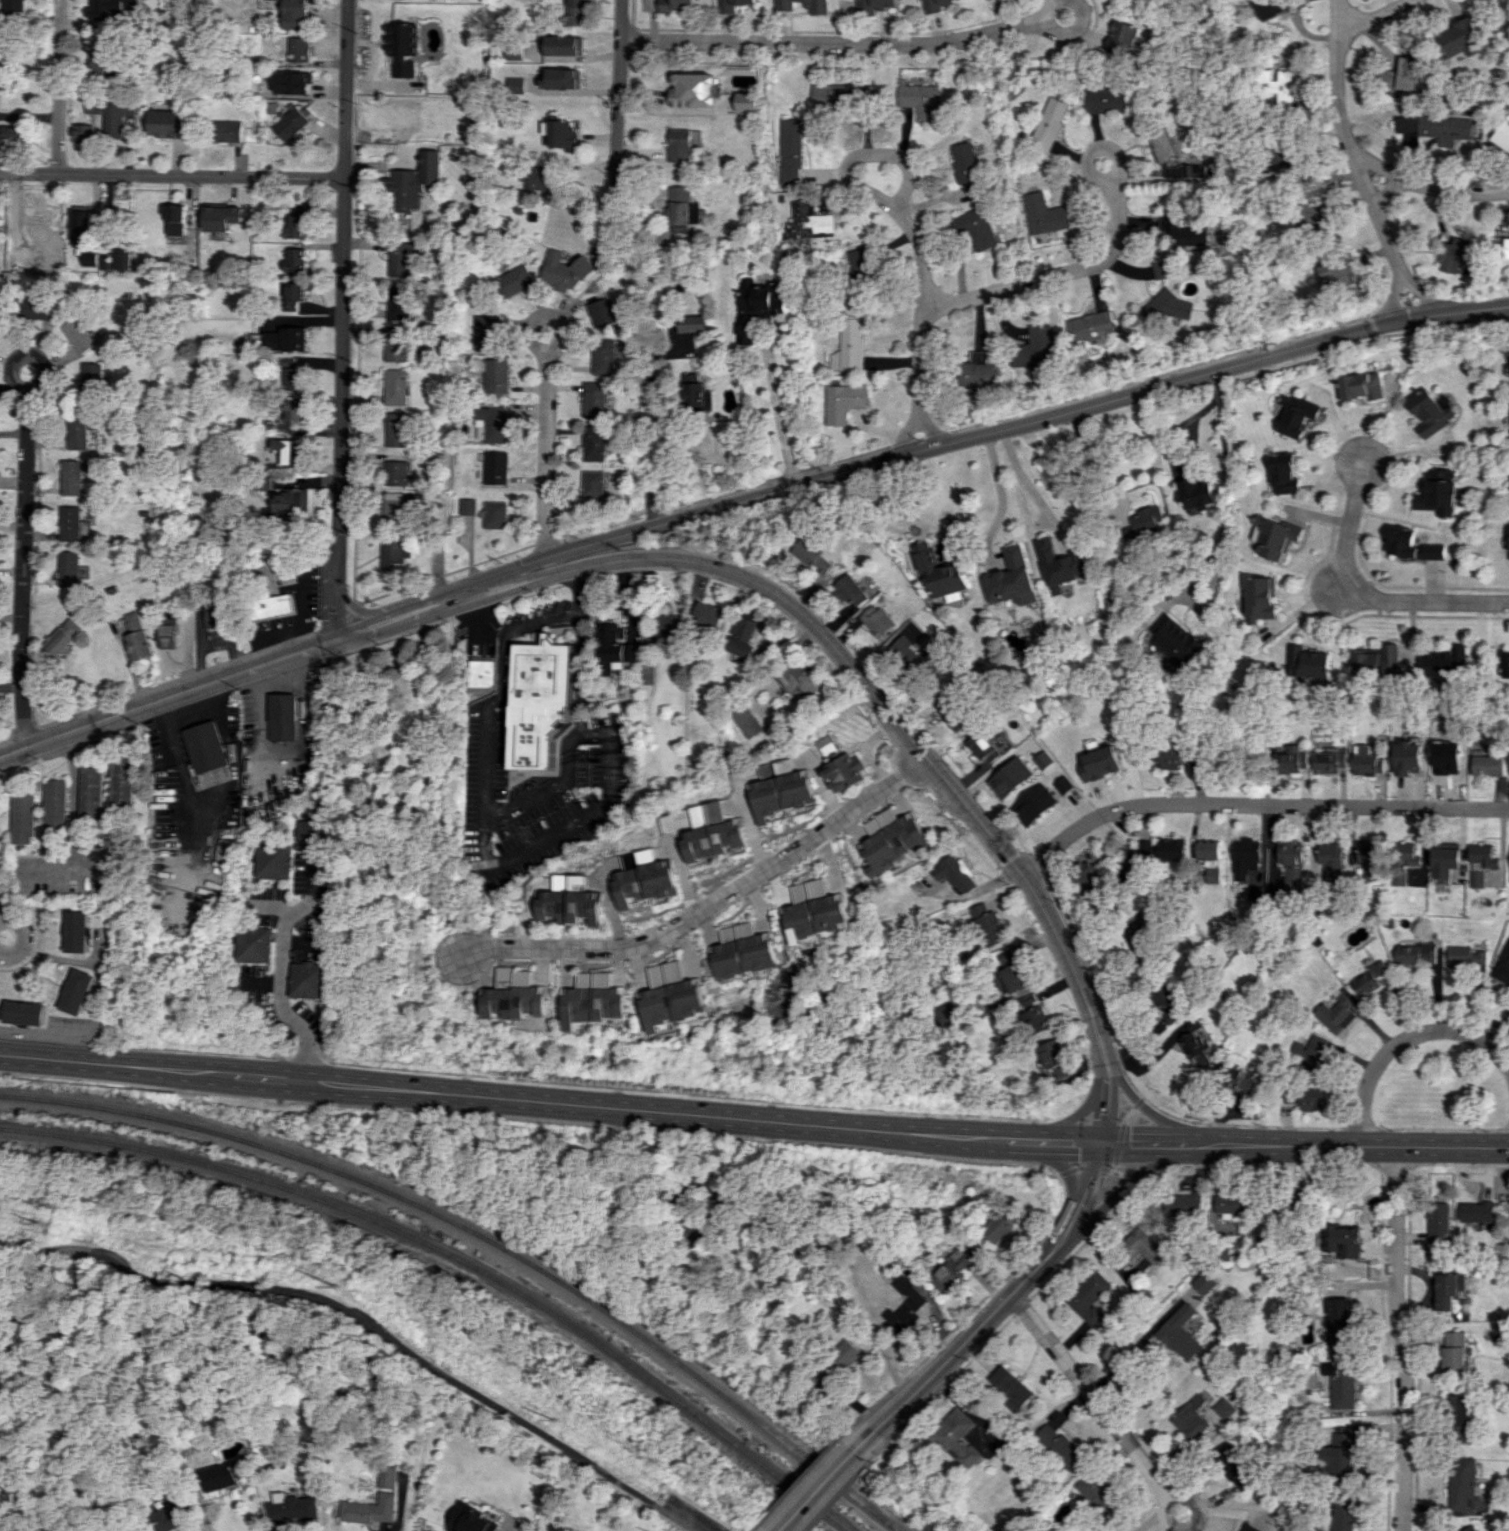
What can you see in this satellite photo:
building: (676, 4)
building: (731, 4)
building: (816, 4)
building: (870, 5)
building: (929, 5)
building: (16, 7)
building: (1268, 7)
building: (110, 9)
road: (1351, 10)
building: (575, 11)
building: (290, 12)
road: (1369, 17)
road: (1061, 34)
building: (1120, 38)
building: (1460, 39)
road: (832, 40)
building: (564, 45)
building: (299, 49)
building: (102, 65)
building: (399, 69)
building: (1405, 74)
building: (563, 78)
building: (298, 82)
building: (520, 84)
road: (63, 87)
building: (1276, 87)
building: (692, 90)
building: (830, 94)
road: (617, 97)
building: (1105, 100)
building: (744, 101)
building: (918, 101)
building: (94, 107)
building: (118, 112)
building: (397, 120)
building: (1046, 122)
building: (169, 123)
building: (291, 123)
building: (1445, 128)
building: (227, 131)
building: (12, 133)
building: (85, 133)
building: (559, 134)
building: (1502, 135)
building: (678, 145)
building: (787, 149)
building: (1284, 152)
building: (1170, 154)
road: (1116, 161)
road: (1356, 164)
building: (964, 165)
road: (1379, 166)
road: (171, 175)
building: (537, 177)
building: (414, 179)
road: (1438, 188)
building: (682, 209)
building: (1042, 214)
building: (224, 217)
building: (1309, 217)
building: (177, 218)
building: (807, 221)
building: (294, 222)
road: (908, 225)
building: (972, 228)
building: (1183, 232)
building: (85, 238)
building: (1503, 246)
building: (52, 255)
building: (1458, 255)
building: (400, 256)
building: (293, 257)
building: (117, 260)
building: (565, 268)
building: (1163, 269)
road: (342, 271)
building: (1338, 273)
road: (1052, 275)
building: (514, 279)
building: (856, 279)
building: (292, 294)
road: (1395, 296)
building: (398, 300)
building: (30, 306)
building: (756, 306)
building: (1165, 307)
building: (601, 310)
building: (691, 324)
building: (1088, 325)
building: (486, 331)
building: (78, 334)
building: (283, 337)
building: (394, 342)
building: (848, 345)
building: (1507, 347)
building: (1031, 348)
building: (603, 354)
building: (285, 360)
building: (977, 371)
building: (496, 374)
building: (292, 377)
building: (92, 380)
building: (1364, 384)
building: (394, 385)
building: (595, 397)
building: (697, 398)
road: (544, 401)
building: (843, 401)
building: (292, 407)
building: (1432, 411)
road: (780, 412)
building: (1300, 413)
building: (493, 421)
road: (1177, 425)
building: (395, 427)
road: (908, 430)
road: (983, 430)
building: (76, 431)
building: (594, 441)
building: (288, 449)
road: (647, 462)
building: (267, 466)
building: (495, 466)
building: (394, 472)
building: (1287, 473)
building: (69, 477)
building: (261, 480)
building: (592, 482)
road: (1028, 483)
building: (1439, 490)
building: (1196, 492)
road: (1223, 493)
building: (287, 502)
road: (906, 504)
building: (467, 506)
building: (391, 511)
building: (495, 514)
road: (23, 518)
building: (1142, 523)
building: (68, 524)
building: (1275, 535)
building: (437, 543)
building: (1414, 543)
building: (391, 552)
building: (1062, 552)
building: (812, 554)
building: (269, 563)
building: (67, 568)
building: (939, 570)
building: (1011, 578)
road: (1366, 589)
building: (850, 590)
road: (336, 591)
road: (578, 591)
building: (1262, 597)
road: (1320, 600)
parking lot: (305, 605)
building: (267, 606)
road: (359, 610)
building: (706, 613)
building: (219, 614)
road: (402, 614)
building: (877, 619)
road: (473, 620)
building: (666, 623)
building: (166, 627)
parking lot: (477, 630)
building: (742, 633)
building: (137, 636)
building: (61, 637)
building: (1174, 639)
building: (611, 647)
building: (917, 659)
building: (1378, 660)
building: (1447, 660)
building: (1307, 661)
building: (1507, 664)
road: (422, 665)
building: (483, 671)
road: (577, 673)
building: (646, 673)
building: (796, 679)
road: (867, 685)
road: (502, 692)
road: (167, 697)
building: (540, 701)
building: (954, 714)
building: (284, 716)
building: (746, 720)
building: (982, 745)
building: (205, 747)
building: (1170, 755)
building: (1291, 760)
building: (1329, 760)
building: (1366, 761)
building: (1445, 761)
building: (1099, 762)
building: (841, 765)
building: (1487, 765)
park: (399, 770)
building: (1009, 777)
building: (123, 783)
building: (1063, 784)
building: (780, 789)
building: (92, 793)
road: (74, 800)
building: (1036, 802)
building: (55, 804)
parking lot: (545, 804)
road: (1254, 805)
building: (22, 816)
building: (314, 829)
building: (712, 832)
building: (891, 839)
building: (1170, 849)
building: (1208, 849)
building: (1368, 859)
building: (273, 860)
building: (1328, 860)
road: (507, 861)
building: (1444, 861)
building: (1291, 864)
building: (1247, 867)
road: (64, 871)
building: (954, 873)
building: (1212, 875)
building: (1087, 876)
building: (643, 878)
building: (572, 901)
road: (710, 905)
building: (814, 910)
building: (987, 924)
building: (76, 930)
building: (1137, 930)
road: (21, 935)
road: (1112, 935)
building: (255, 943)
building: (744, 950)
building: (1416, 953)
building: (1465, 957)
building: (1502, 965)
building: (1011, 970)
building: (1369, 978)
building: (310, 979)
building: (77, 991)
building: (517, 995)
building: (672, 995)
building: (595, 999)
road: (284, 1003)
building: (1167, 1003)
road: (100, 1006)
building: (23, 1012)
building: (943, 1014)
building: (1033, 1014)
building: (1335, 1014)
road: (1403, 1038)
building: (1192, 1043)
building: (1308, 1051)
building: (1054, 1059)
building: (1239, 1081)
road: (493, 1097)
building: (1304, 1097)
road: (1105, 1101)
road: (1137, 1102)
road: (1149, 1111)
road: (1126, 1114)
road: (1168, 1114)
road: (1063, 1122)
road: (1044, 1140)
traffic signals: (1102, 1143)
road: (1118, 1143)
road: (1155, 1143)
road: (1358, 1146)
road: (1051, 1160)
road: (1182, 1164)
road: (1082, 1167)
road: (1112, 1168)
road: (1118, 1172)
road: (1135, 1174)
road: (1089, 1182)
road: (1129, 1182)
building: (1231, 1202)
building: (1184, 1204)
building: (1476, 1211)
building: (1437, 1221)
power tower: (37, 1225)
building: (996, 1229)
railway: (490, 1232)
building: (1340, 1240)
building: (1143, 1248)
railway: (456, 1256)
road: (1045, 1258)
road: (842, 1265)
building: (953, 1269)
building: (1203, 1282)
power tower: (340, 1287)
building: (1447, 1289)
road: (987, 1295)
building: (1090, 1297)
road: (1021, 1306)
building: (903, 1308)
building: (1337, 1320)
road: (369, 1324)
building: (1179, 1332)
road: (1399, 1338)
building: (1453, 1353)
building: (840, 1360)
road: (937, 1367)
park: (428, 1376)
building: (1341, 1384)
road: (945, 1385)
building: (1011, 1385)
building: (1200, 1417)
building: (1456, 1418)
power tower: (553, 1419)
building: (958, 1438)
road: (1125, 1442)
building: (1058, 1445)
building: (1340, 1452)
building: (1232, 1467)
building: (222, 1475)
building: (388, 1476)
road: (800, 1480)
building: (1460, 1481)
road: (819, 1487)
road: (841, 1494)
road: (200, 1496)
building: (1098, 1496)
building: (292, 1507)
building: (369, 1509)
building: (1343, 1513)
parking lot: (690, 1515)
building: (168, 1516)
building: (470, 1519)
building: (1248, 1527)
building: (1468, 1528)
road: (751, 1530)

